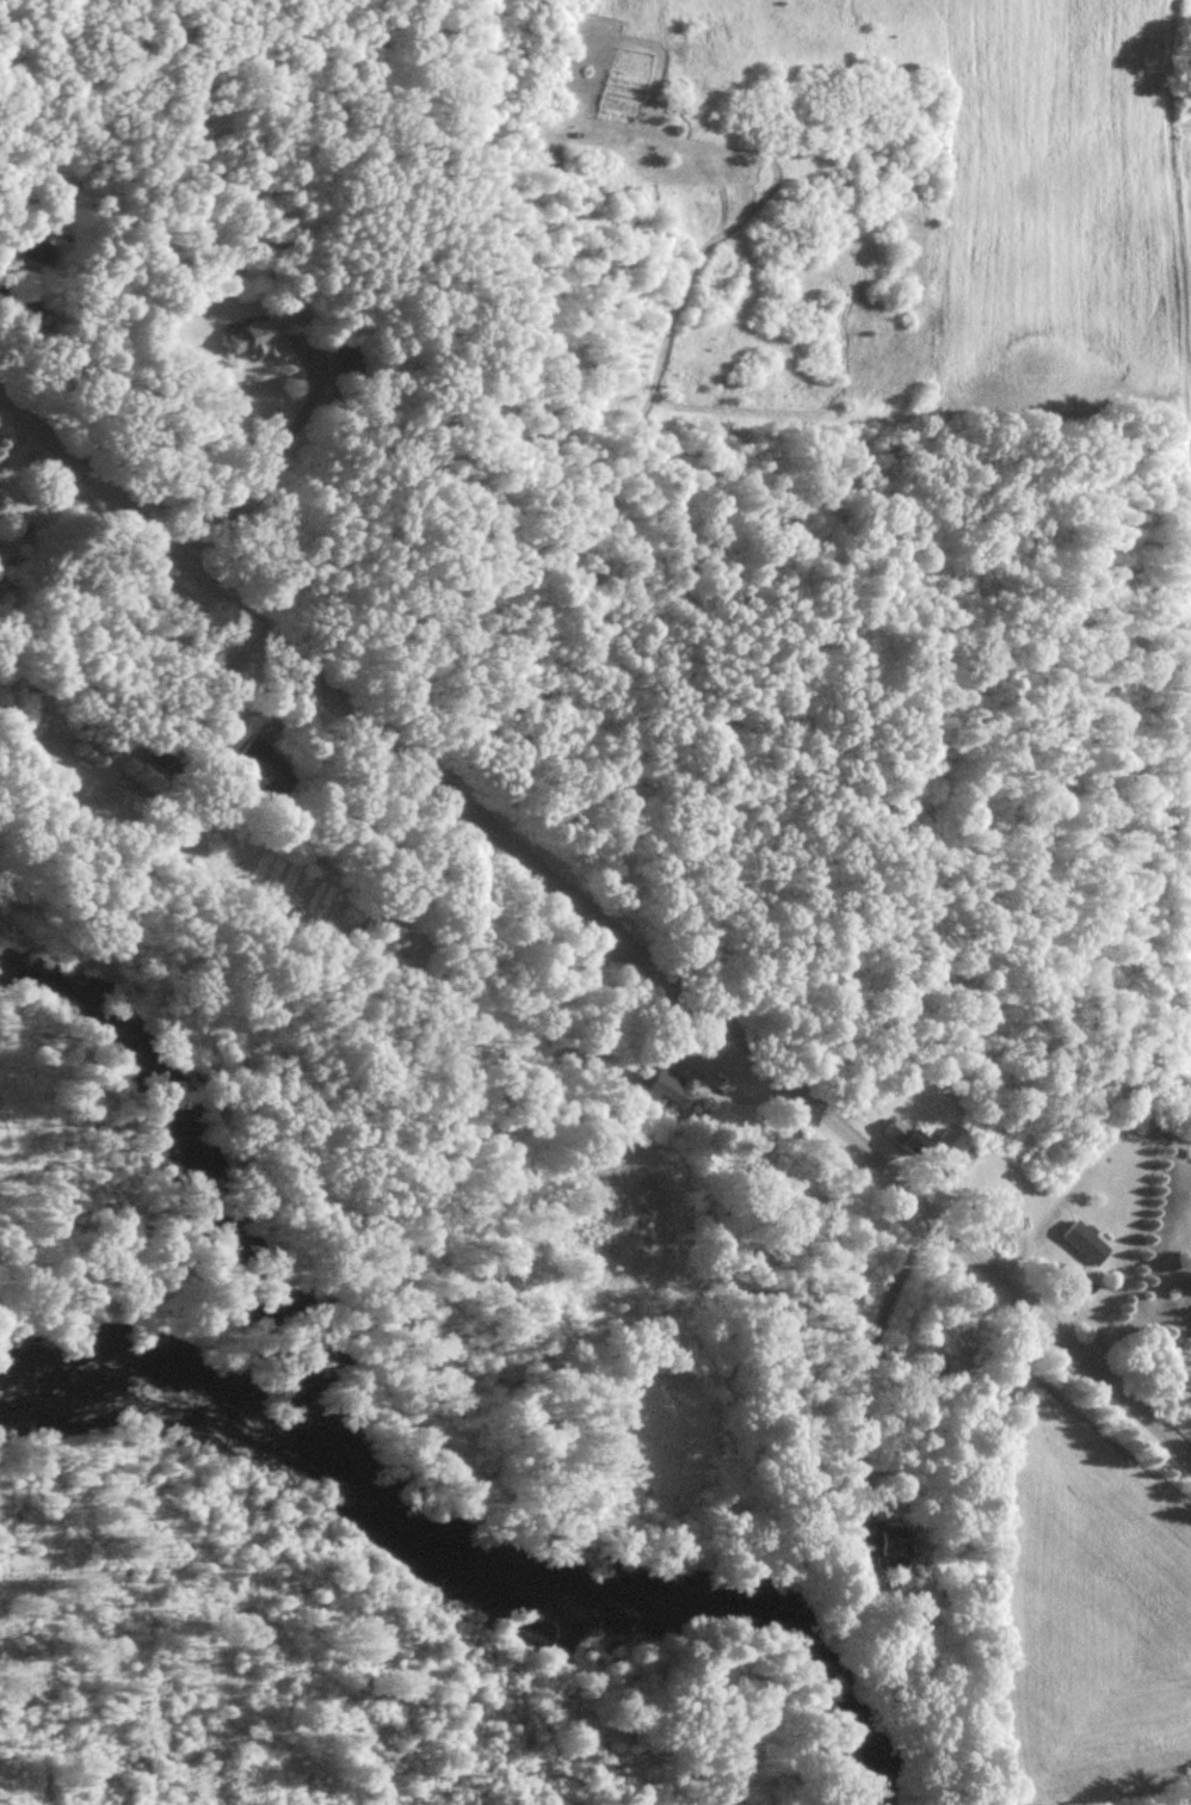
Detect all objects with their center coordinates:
crop: (1057, 211)
building: (36, 247)
building: (249, 346)
crop: (1186, 400)
road: (276, 460)
building: (260, 775)
road: (599, 919)
building: (660, 1095)
building: (895, 1141)
building: (1082, 1249)
road: (877, 1356)
building: (876, 1547)
river: (464, 1576)

